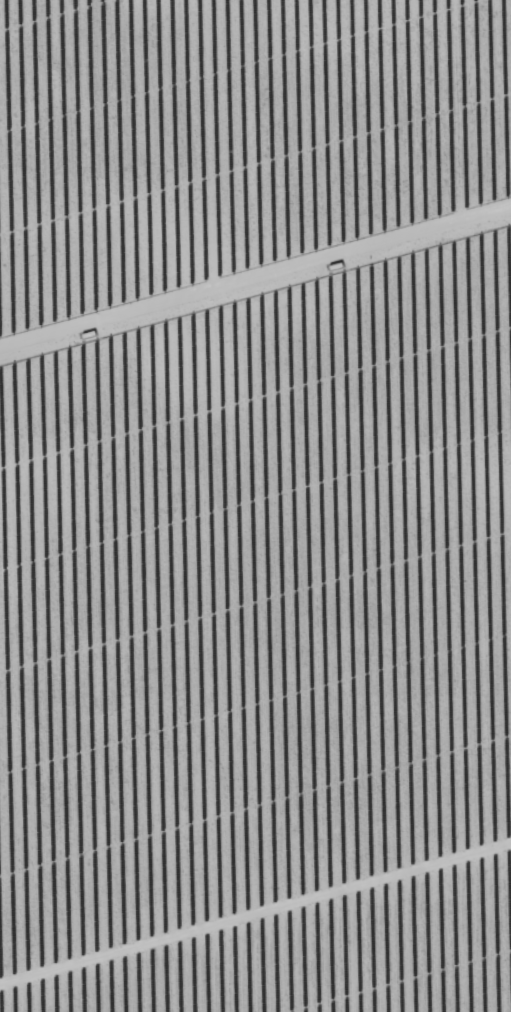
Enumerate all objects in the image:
solar farm: (255, 506)

